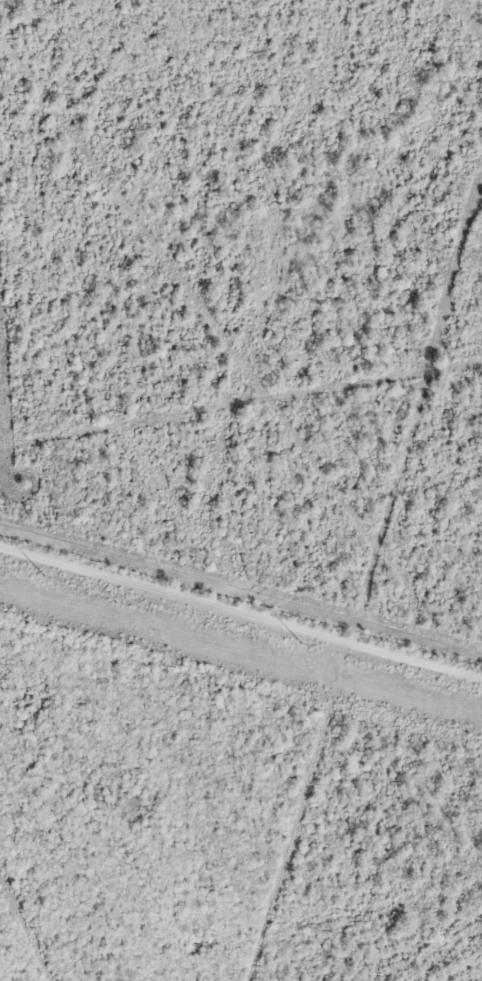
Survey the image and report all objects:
power tower: (45, 575)
road: (240, 614)
power tower: (303, 646)

